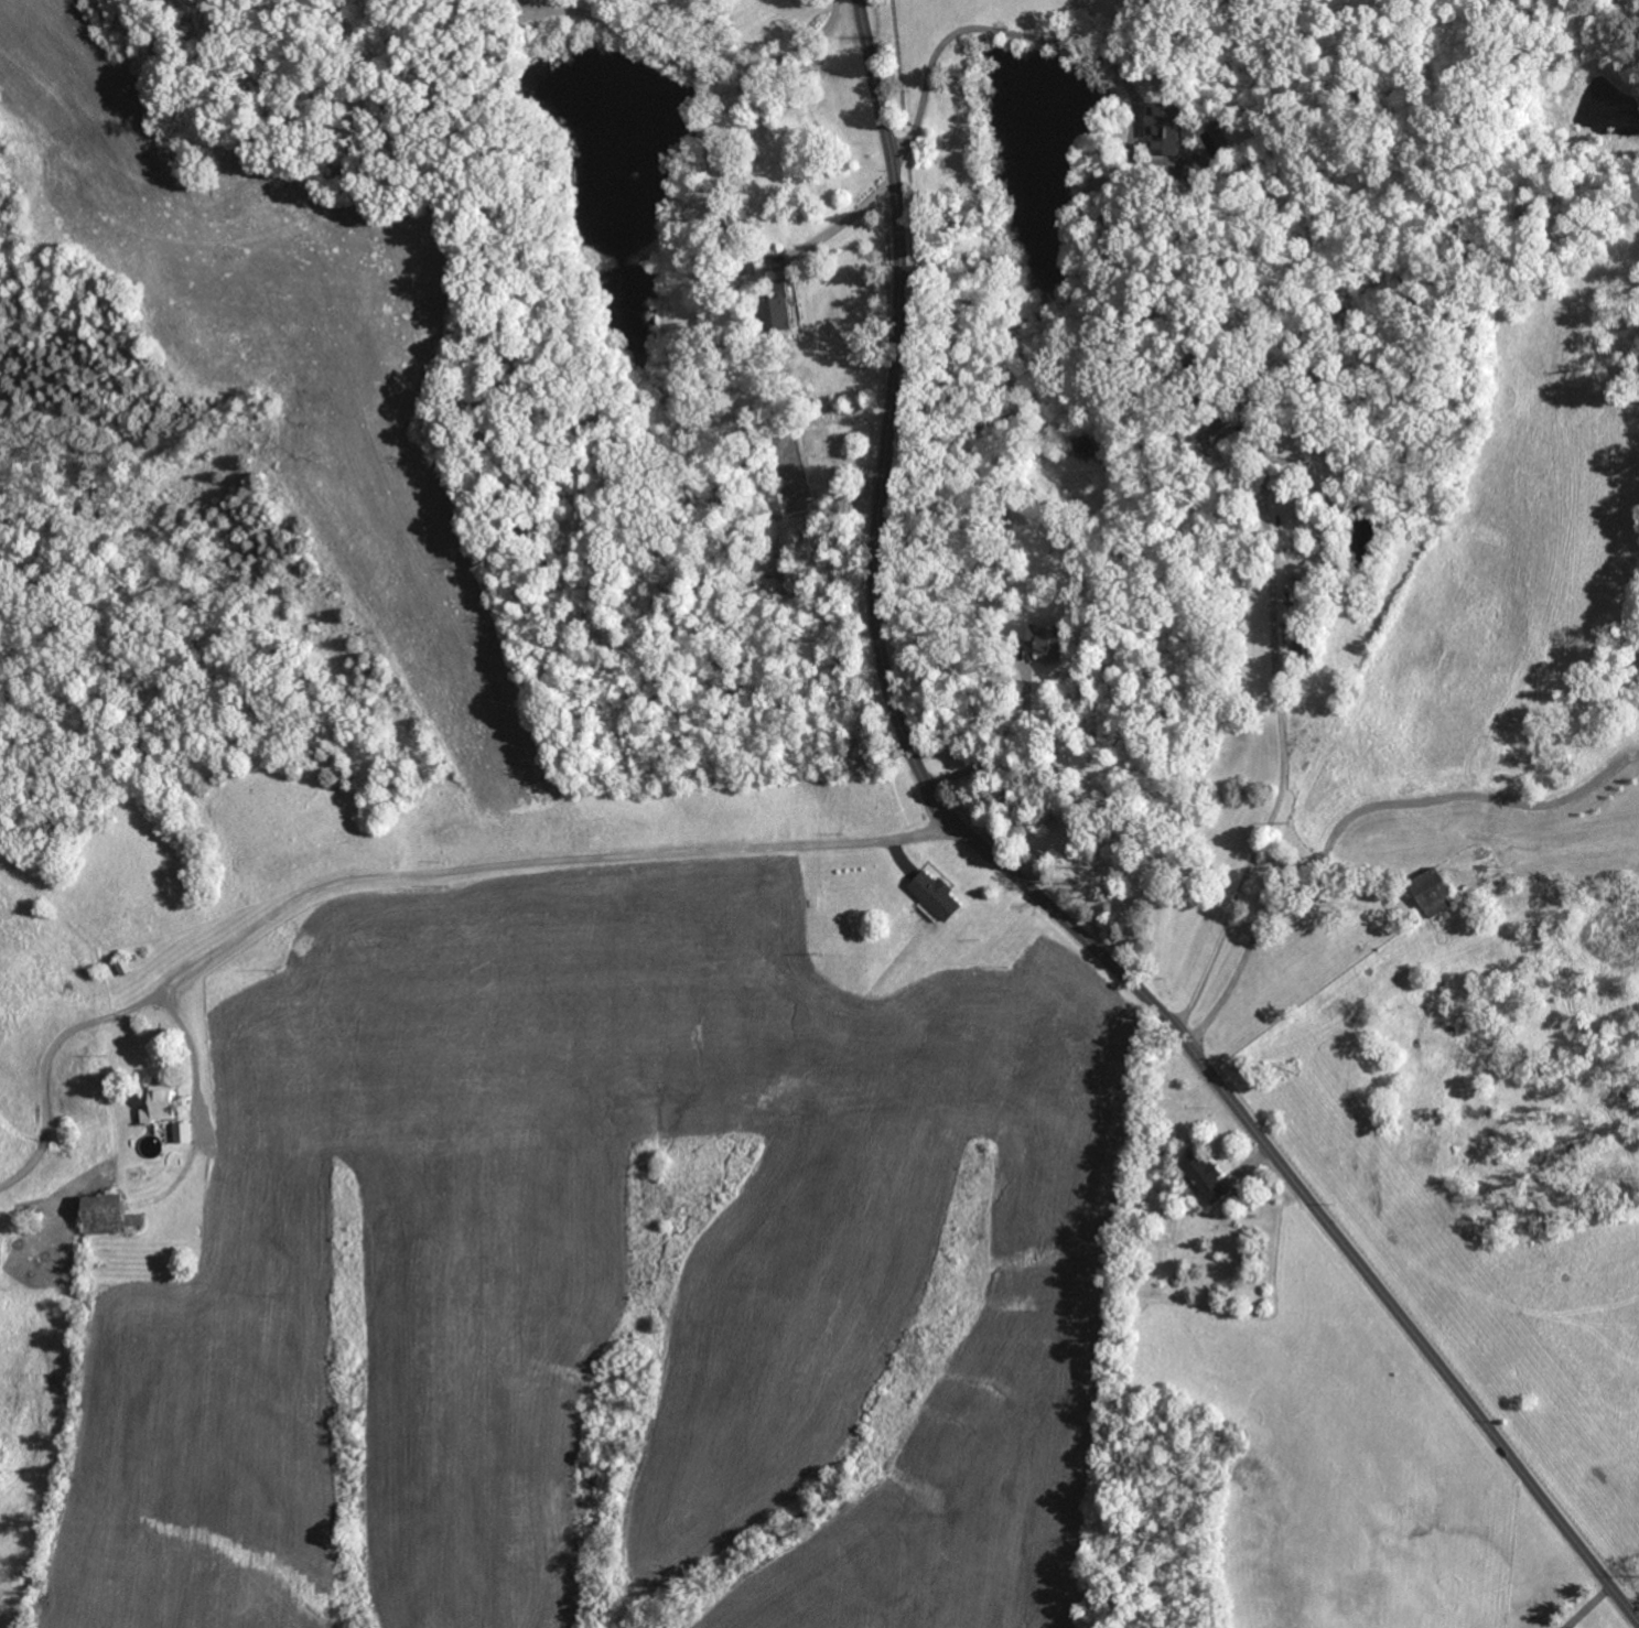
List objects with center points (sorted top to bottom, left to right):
road: (984, 28)
road: (680, 58)
building: (1169, 128)
building: (1197, 173)
road: (843, 220)
building: (734, 244)
building: (775, 310)
building: (1204, 398)
building: (1301, 640)
building: (1047, 642)
road: (1276, 670)
road: (1007, 752)
road: (1357, 809)
road: (393, 865)
road: (1033, 891)
building: (1432, 892)
building: (935, 895)
building: (1411, 920)
building: (1326, 938)
building: (134, 958)
building: (123, 967)
road: (191, 1049)
building: (159, 1104)
building: (64, 1132)
building: (181, 1134)
building: (133, 1175)
building: (1203, 1177)
building: (108, 1216)
road: (1636, 1609)

